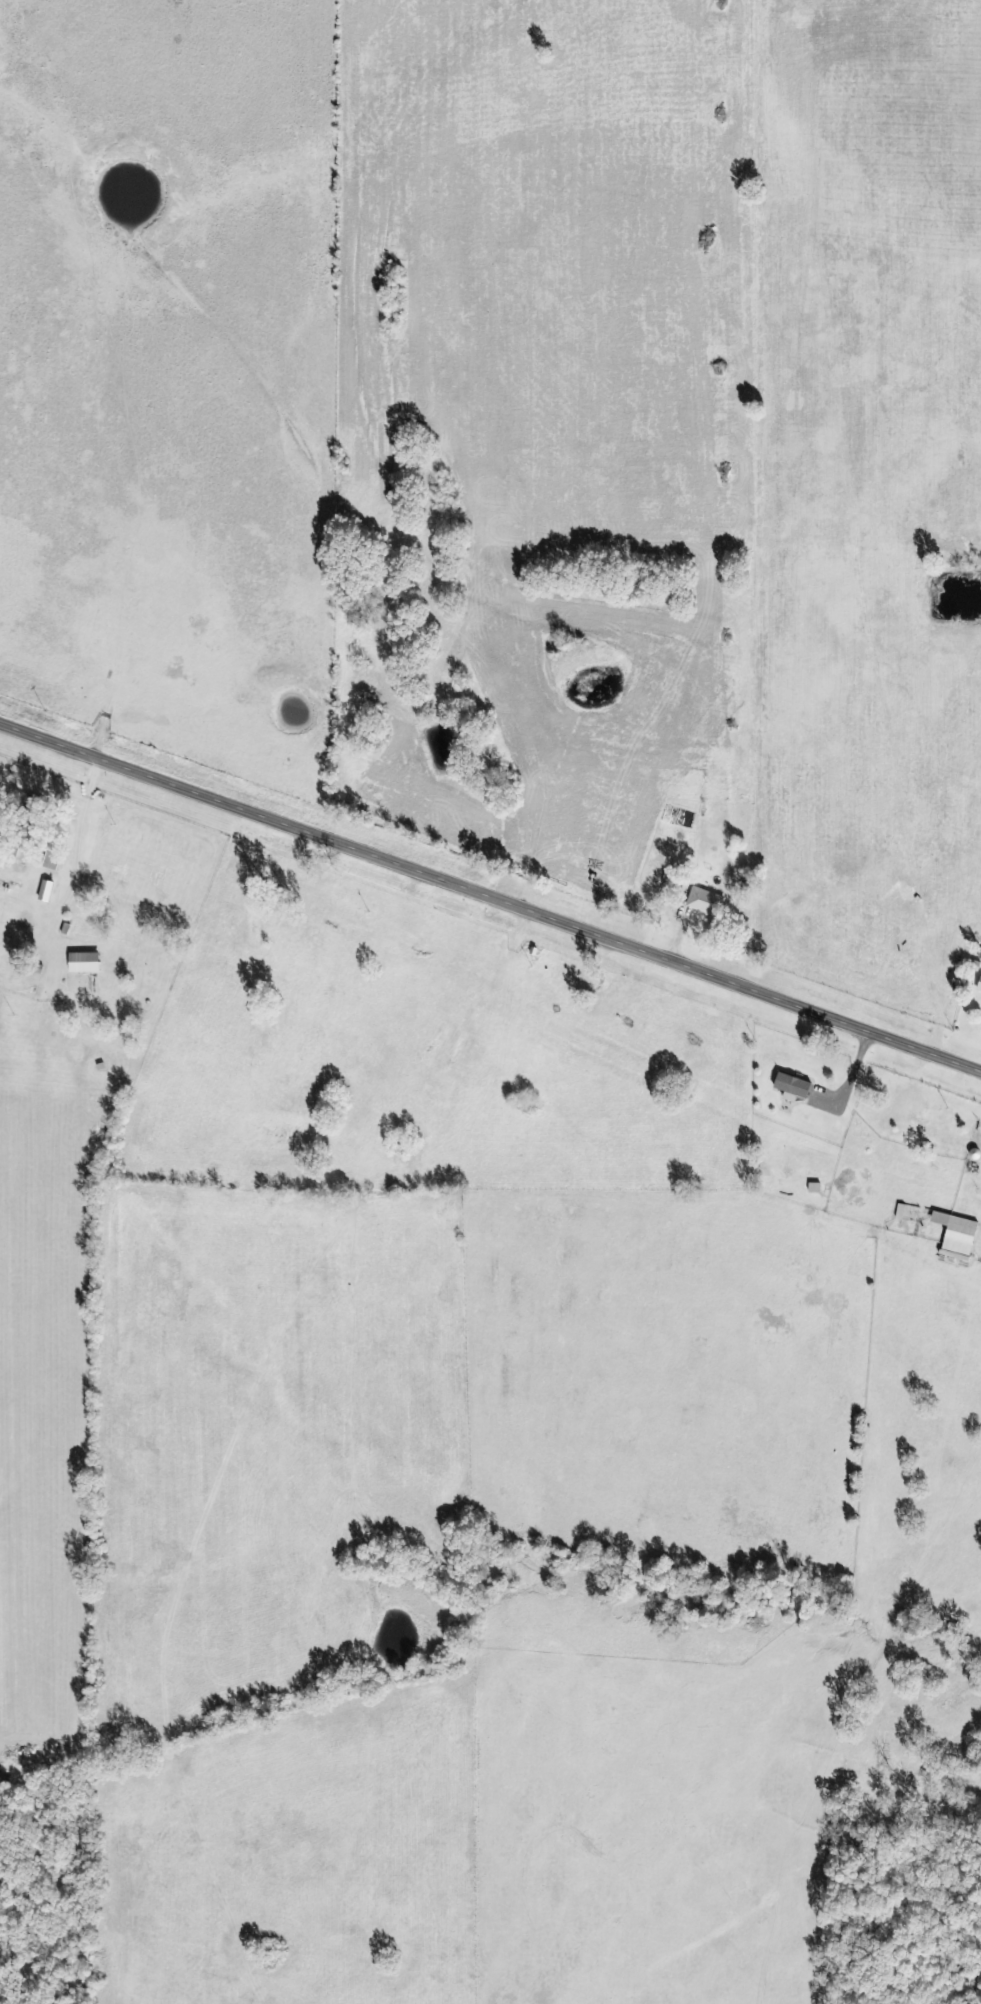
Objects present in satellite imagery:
building: (31, 814)
building: (17, 856)
building: (51, 862)
road: (490, 890)
building: (46, 892)
building: (704, 901)
building: (980, 985)
building: (793, 1082)
building: (958, 1230)

